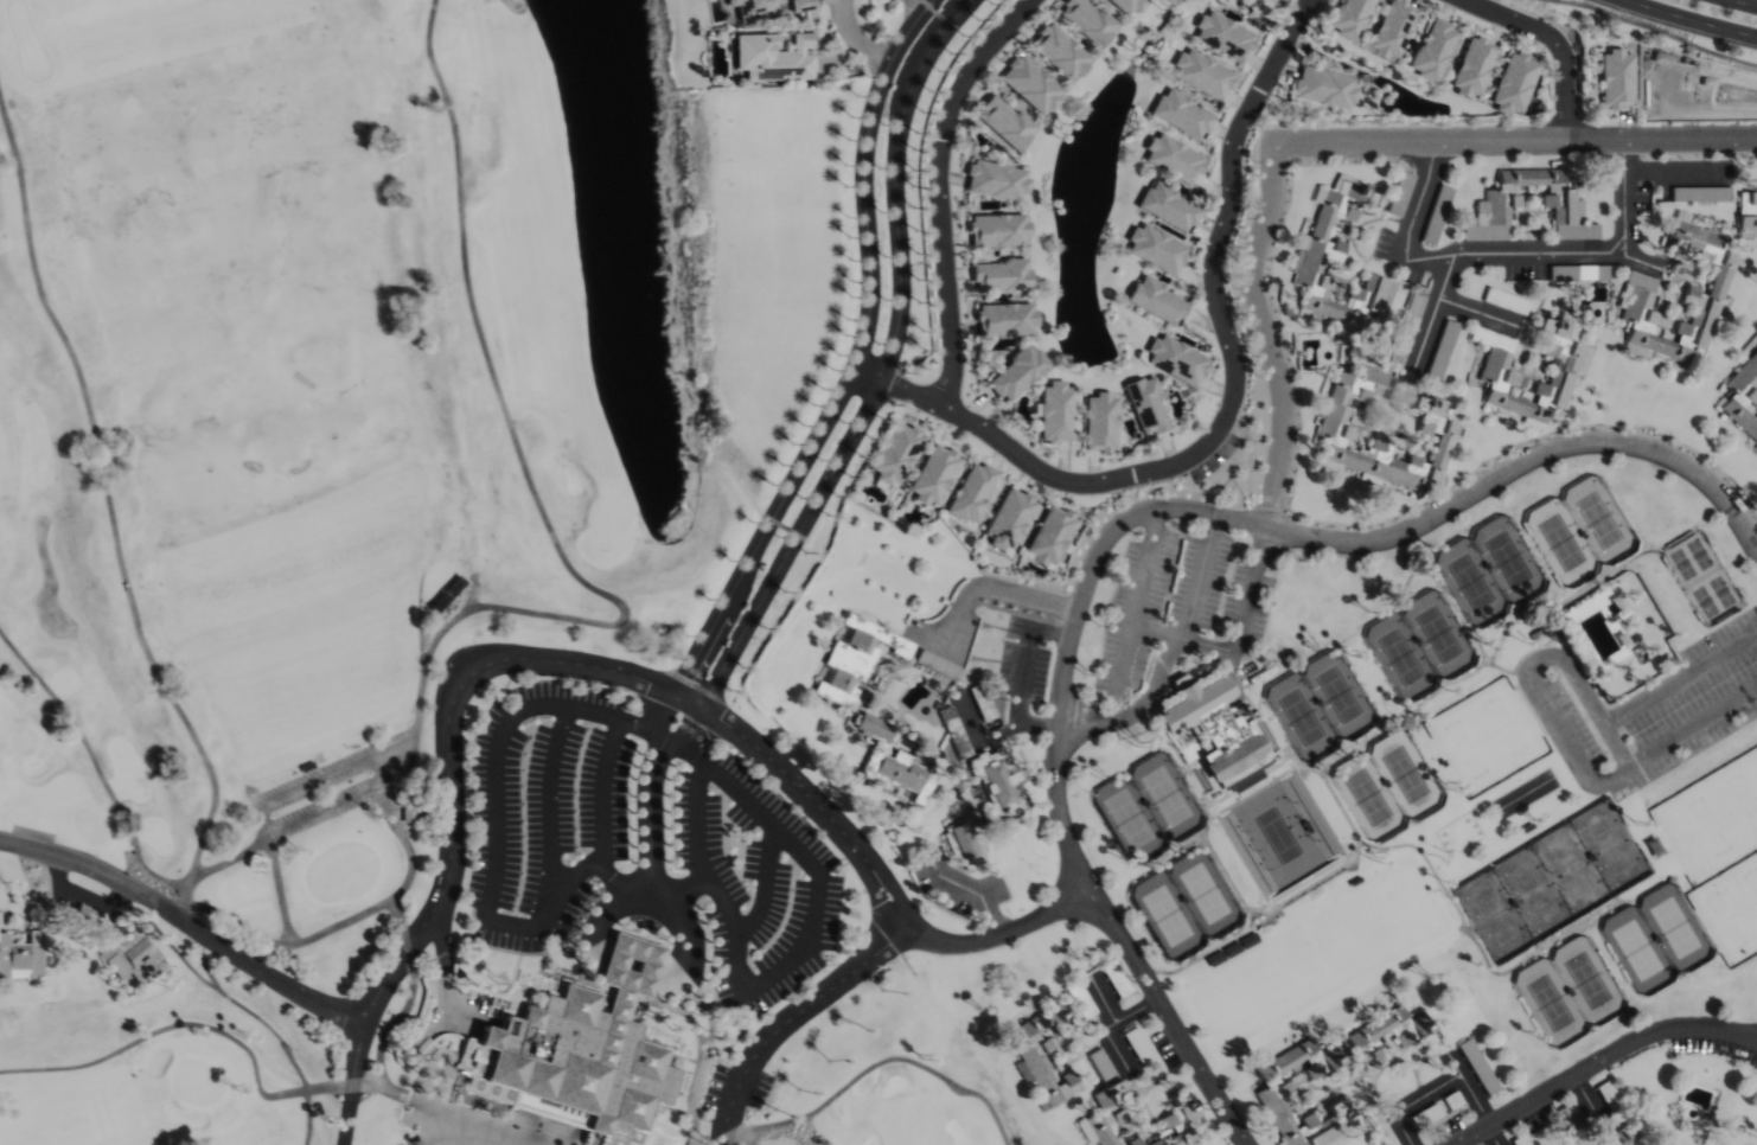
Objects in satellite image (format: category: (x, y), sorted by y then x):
road: (1744, 2)
building: (801, 5)
building: (1125, 6)
building: (750, 8)
building: (1350, 18)
road: (1692, 19)
building: (1086, 20)
building: (1392, 28)
building: (1223, 34)
road: (860, 41)
road: (1555, 44)
building: (1433, 50)
building: (1058, 51)
building: (773, 57)
building: (1472, 66)
building: (1202, 75)
building: (1616, 79)
building: (1514, 84)
building: (1030, 85)
building: (1324, 88)
building: (1182, 114)
building: (1003, 122)
building: (1173, 158)
road: (1670, 169)
building: (995, 180)
road: (938, 191)
building: (1497, 203)
building: (1168, 206)
building: (1437, 215)
building: (1748, 215)
building: (997, 230)
building: (1156, 248)
road: (1507, 255)
road: (1256, 256)
road: (1641, 257)
building: (1335, 261)
building: (999, 275)
building: (1641, 282)
building: (1157, 301)
road: (1435, 311)
road: (1478, 312)
building: (1005, 319)
building: (1405, 327)
building: (1176, 360)
road: (869, 363)
building: (1496, 372)
building: (1016, 373)
park: (254, 379)
building: (1743, 397)
road: (1233, 401)
building: (1146, 405)
building: (1055, 412)
park: (321, 417)
building: (1100, 422)
building: (1436, 427)
building: (895, 453)
road: (1526, 462)
building: (933, 474)
building: (972, 492)
building: (1009, 519)
park: (1580, 533)
building: (1049, 535)
road: (1100, 548)
park: (1489, 570)
road: (1200, 576)
park: (1704, 578)
road: (995, 587)
road: (1136, 602)
road: (1181, 637)
park: (1420, 646)
building: (849, 657)
building: (937, 664)
road: (1022, 674)
road: (1152, 680)
road: (1534, 696)
park: (1321, 706)
building: (874, 727)
building: (1210, 727)
road: (446, 731)
road: (1611, 731)
park: (1488, 737)
road: (603, 763)
building: (899, 773)
building: (997, 782)
park: (1388, 783)
road: (651, 787)
road: (698, 799)
road: (550, 800)
road: (813, 801)
road: (1055, 808)
park: (1148, 808)
building: (989, 811)
park: (1713, 821)
parking lot: (656, 831)
road: (494, 837)
stadium: (1282, 838)
building: (961, 840)
park: (339, 869)
road: (612, 875)
park: (1552, 881)
road: (764, 884)
road: (686, 891)
park: (1188, 904)
road: (602, 909)
park: (1731, 910)
building: (84, 919)
road: (189, 923)
road: (810, 926)
park: (1657, 940)
building: (123, 953)
park: (1316, 958)
building: (14, 960)
road: (867, 961)
park: (1571, 992)
road: (1167, 1016)
road: (1118, 1018)
building: (1389, 1028)
road: (1118, 1043)
building: (576, 1050)
building: (1031, 1057)
building: (1325, 1060)
road: (1603, 1062)
building: (1480, 1067)
park: (897, 1076)
road: (353, 1081)
park: (198, 1082)
park: (192, 1086)
road: (1469, 1089)
road: (1410, 1102)
road: (440, 1108)
building: (1107, 1118)
building: (1178, 1125)
road: (458, 1130)
building: (1621, 1136)
road: (1491, 1137)
road: (716, 1141)

